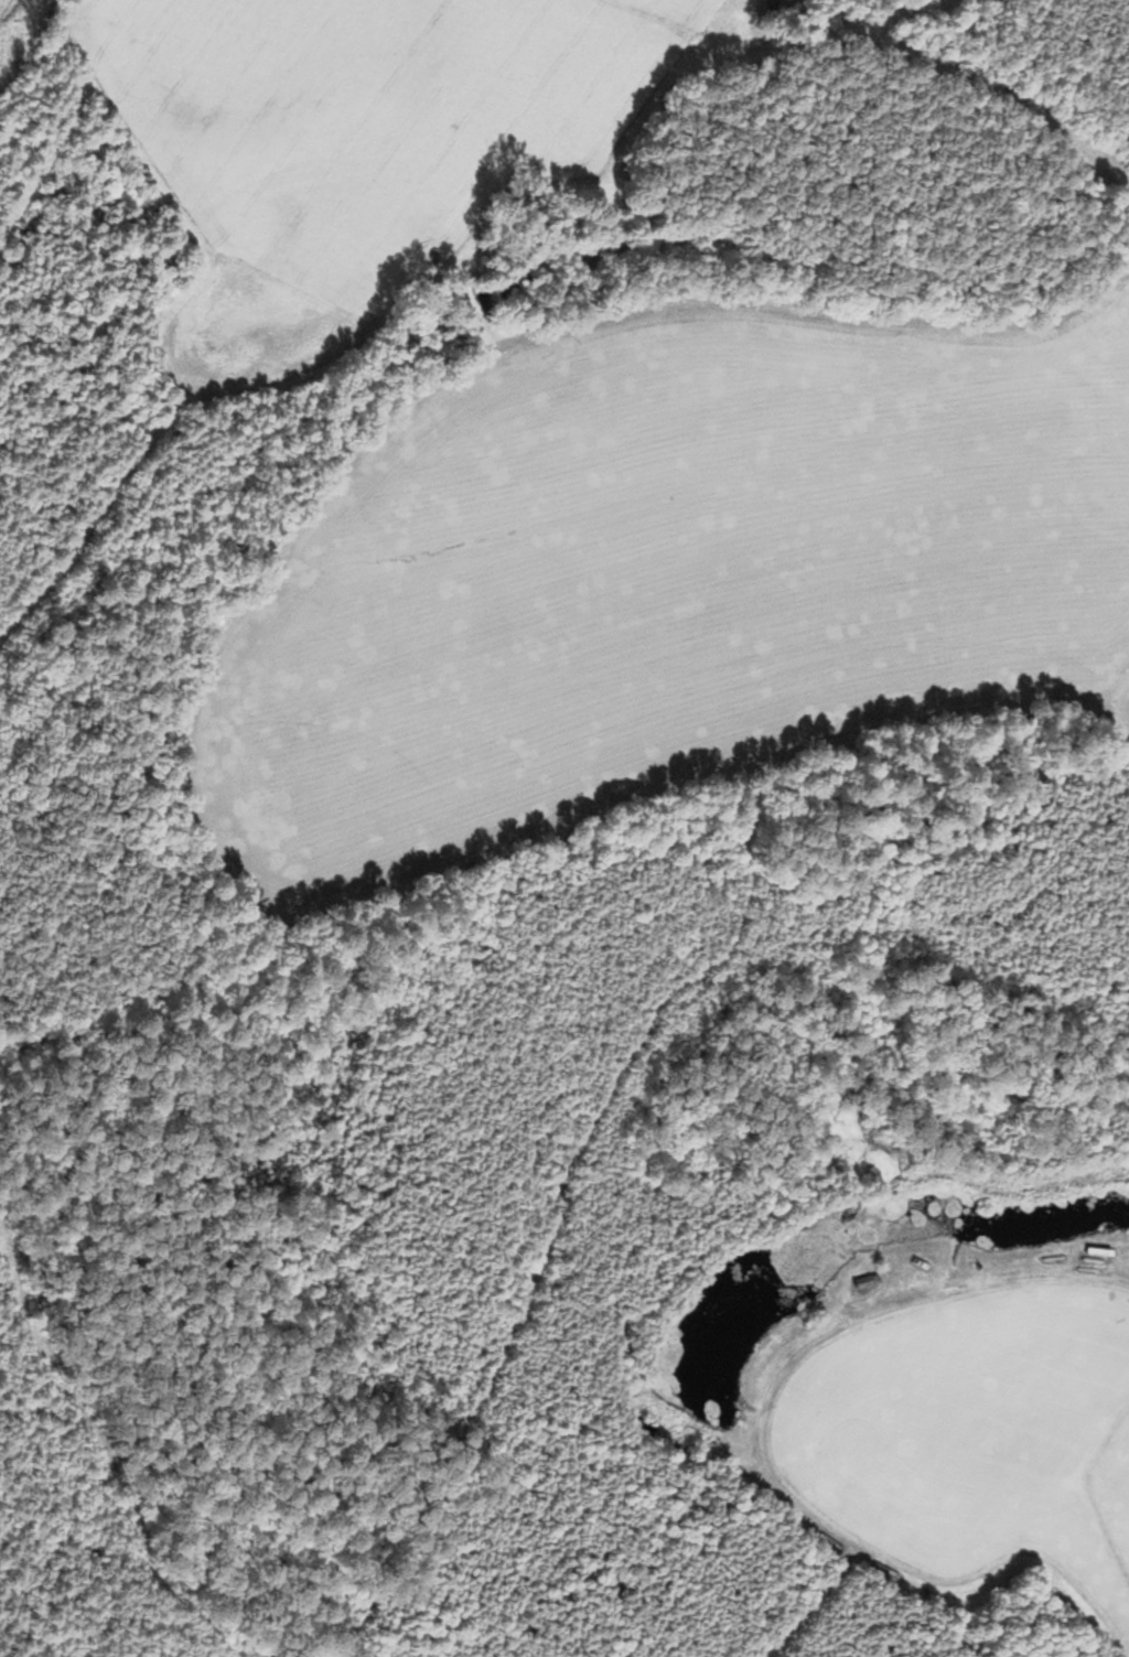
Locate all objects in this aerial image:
building: (860, 1284)

